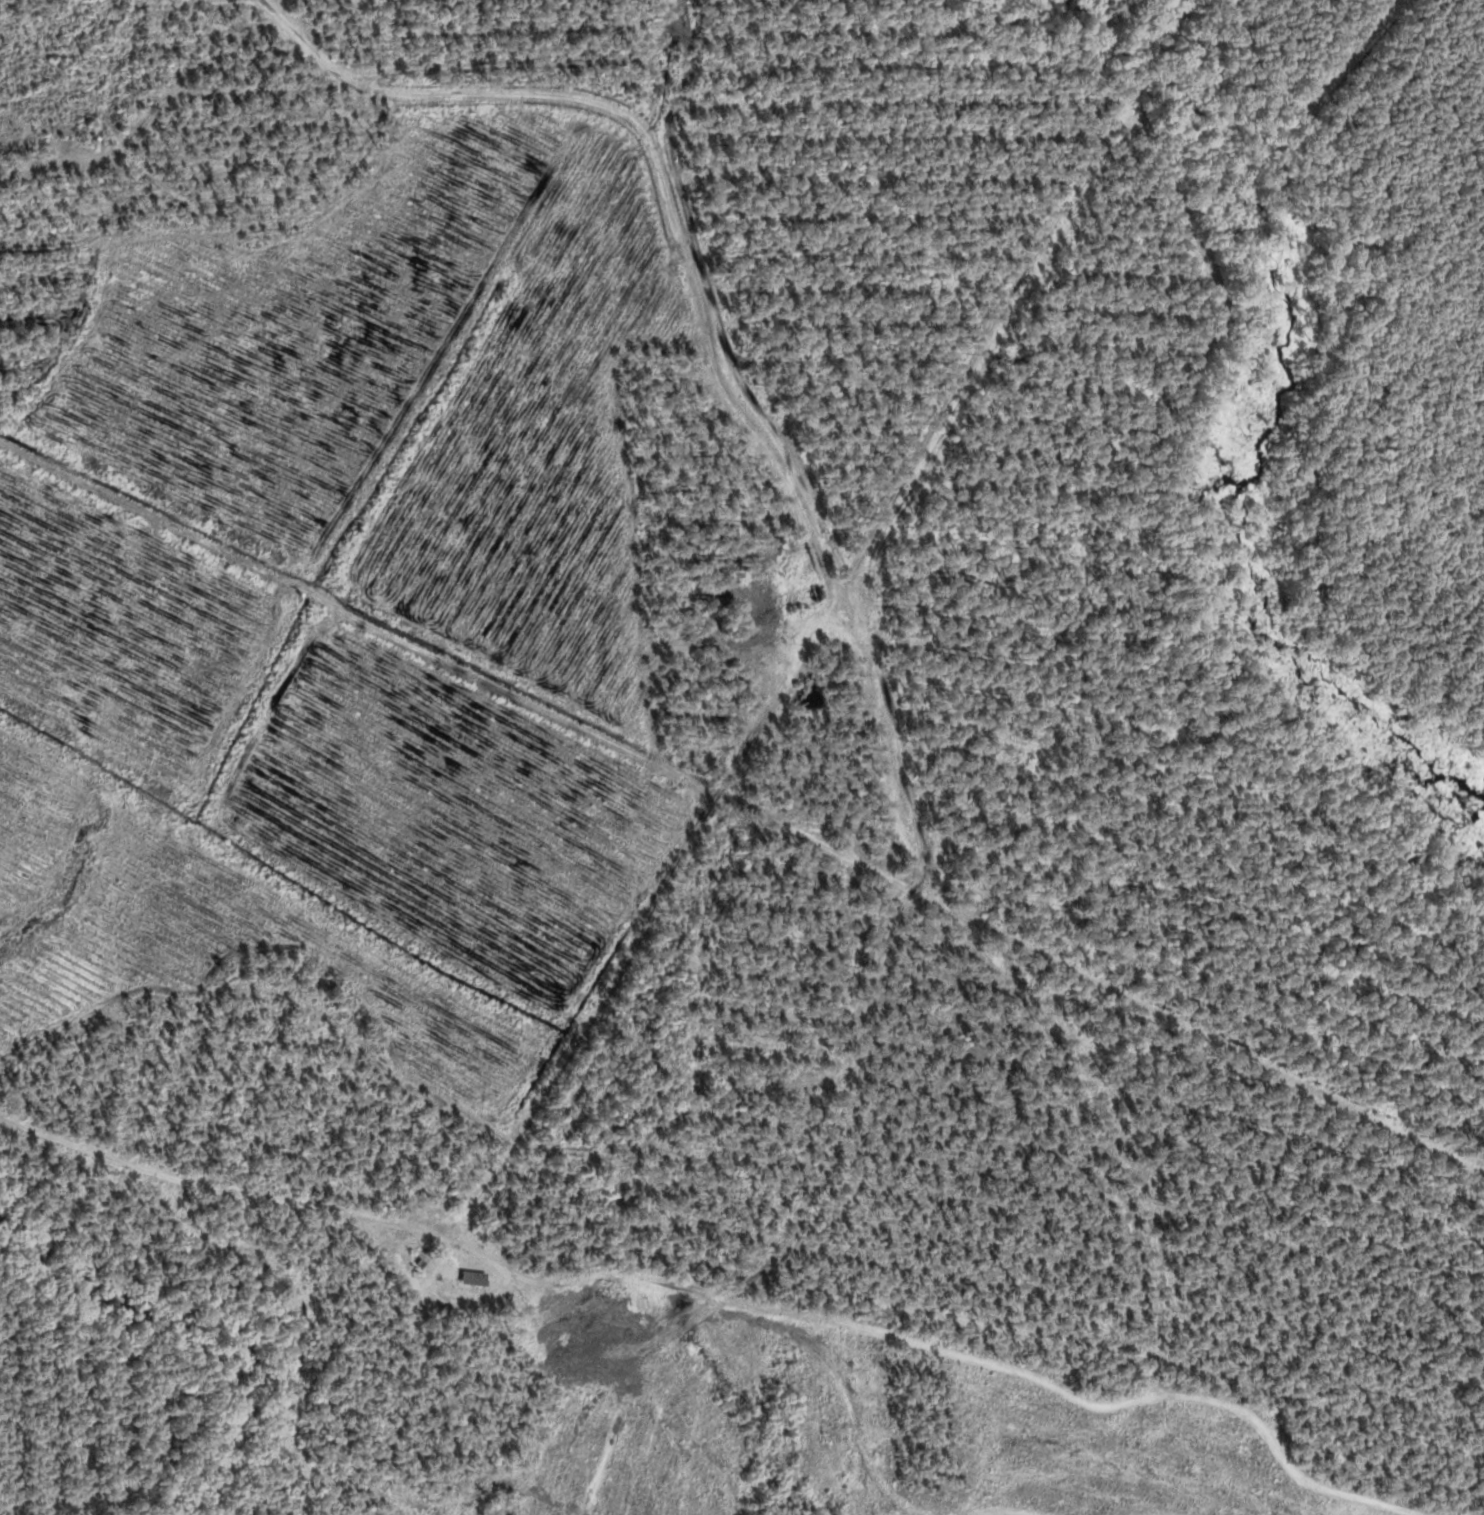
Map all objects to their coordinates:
road: (568, 359)
building: (423, 1261)
building: (471, 1280)

